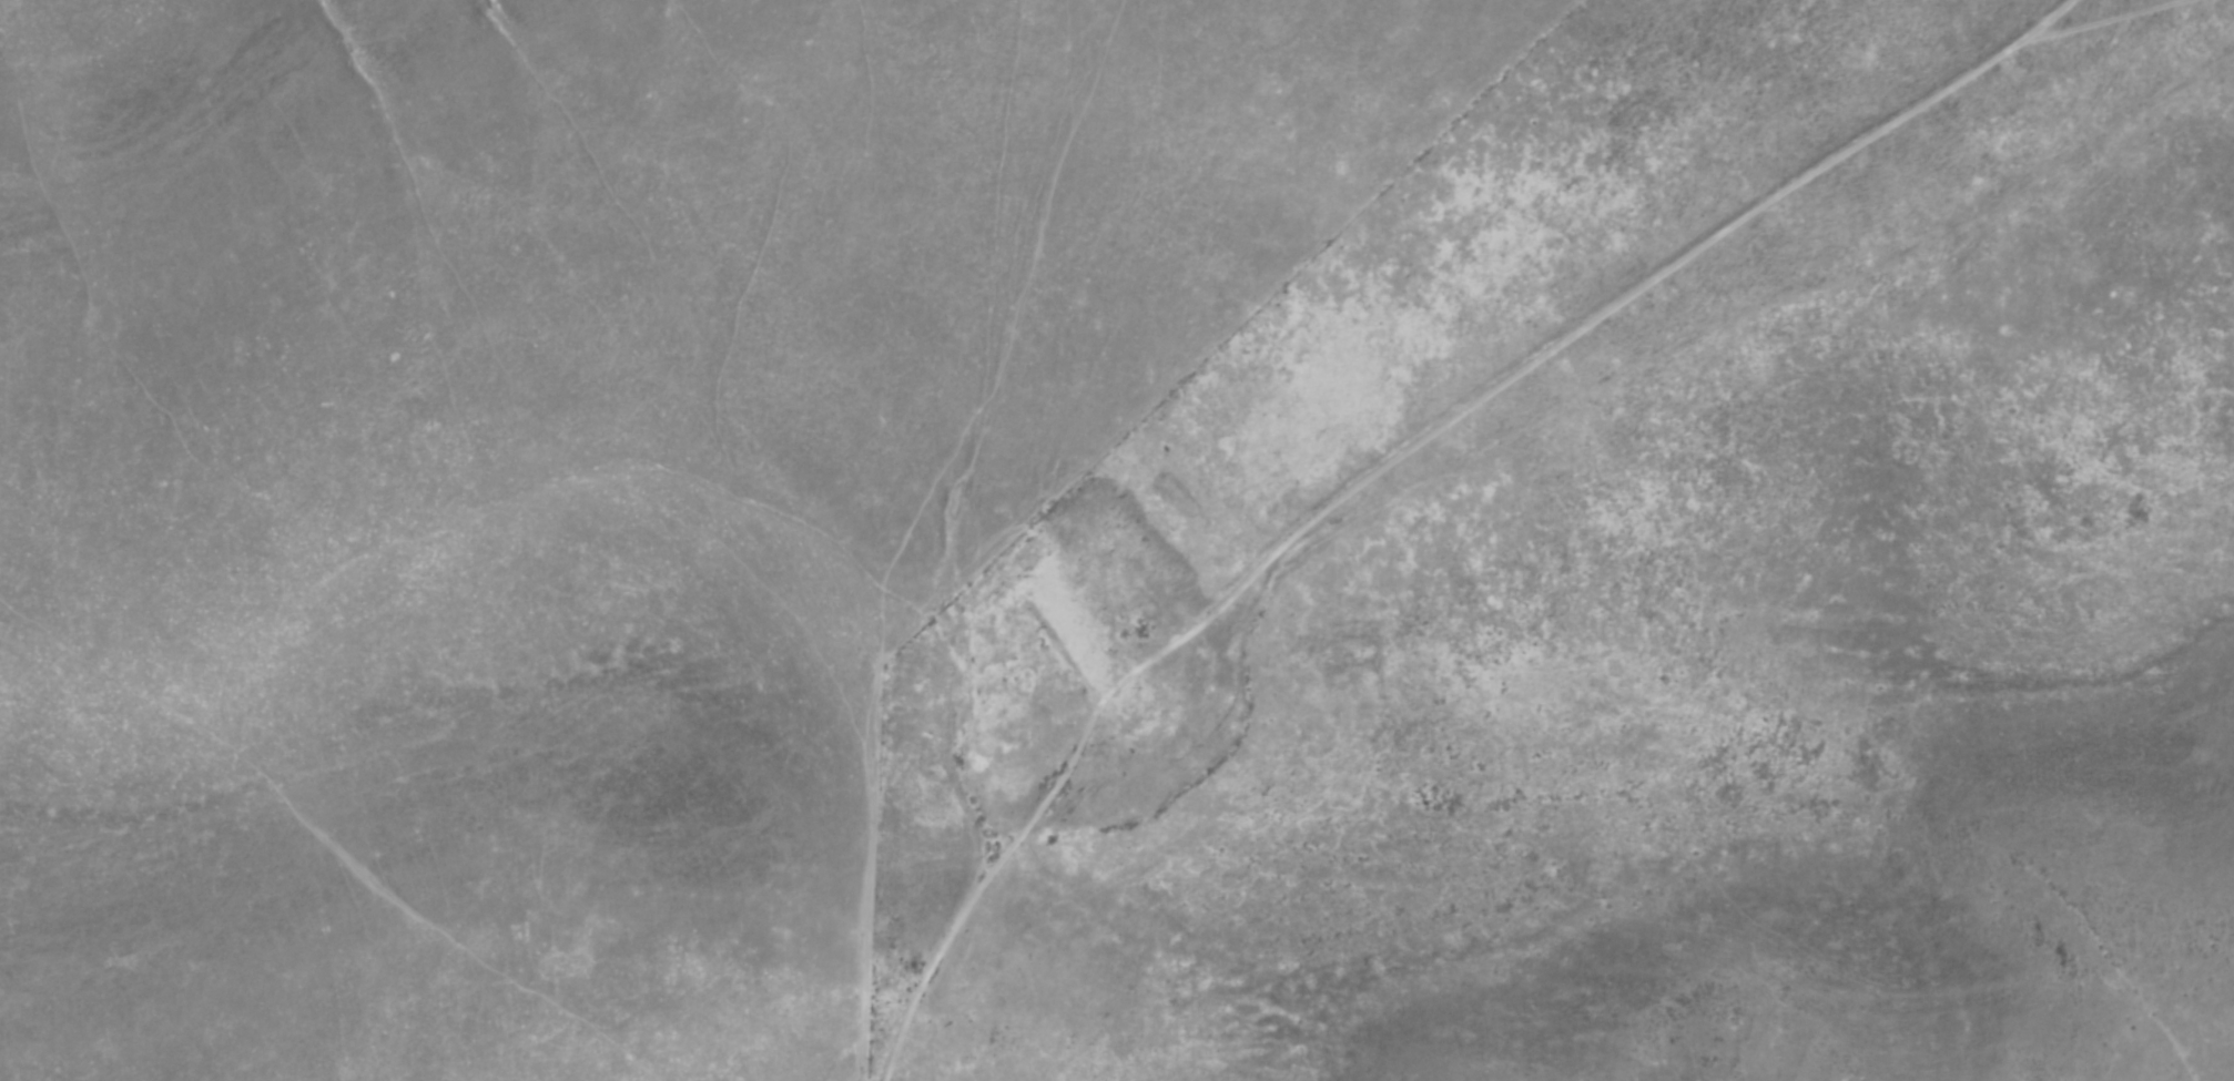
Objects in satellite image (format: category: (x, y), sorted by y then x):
road: (1432, 453)

